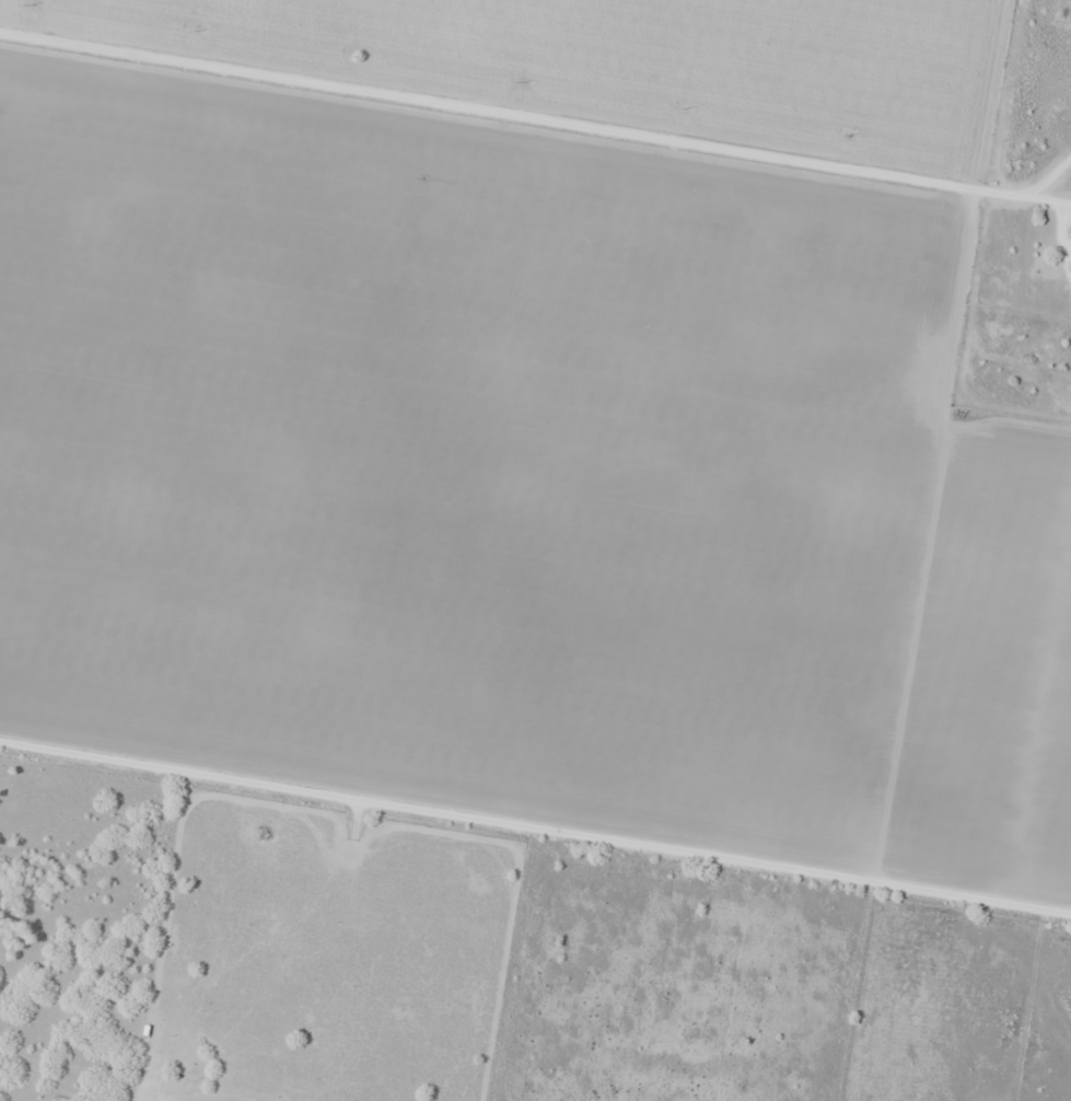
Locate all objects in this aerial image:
road: (504, 115)
road: (1041, 182)
road: (1040, 201)
road: (535, 835)

